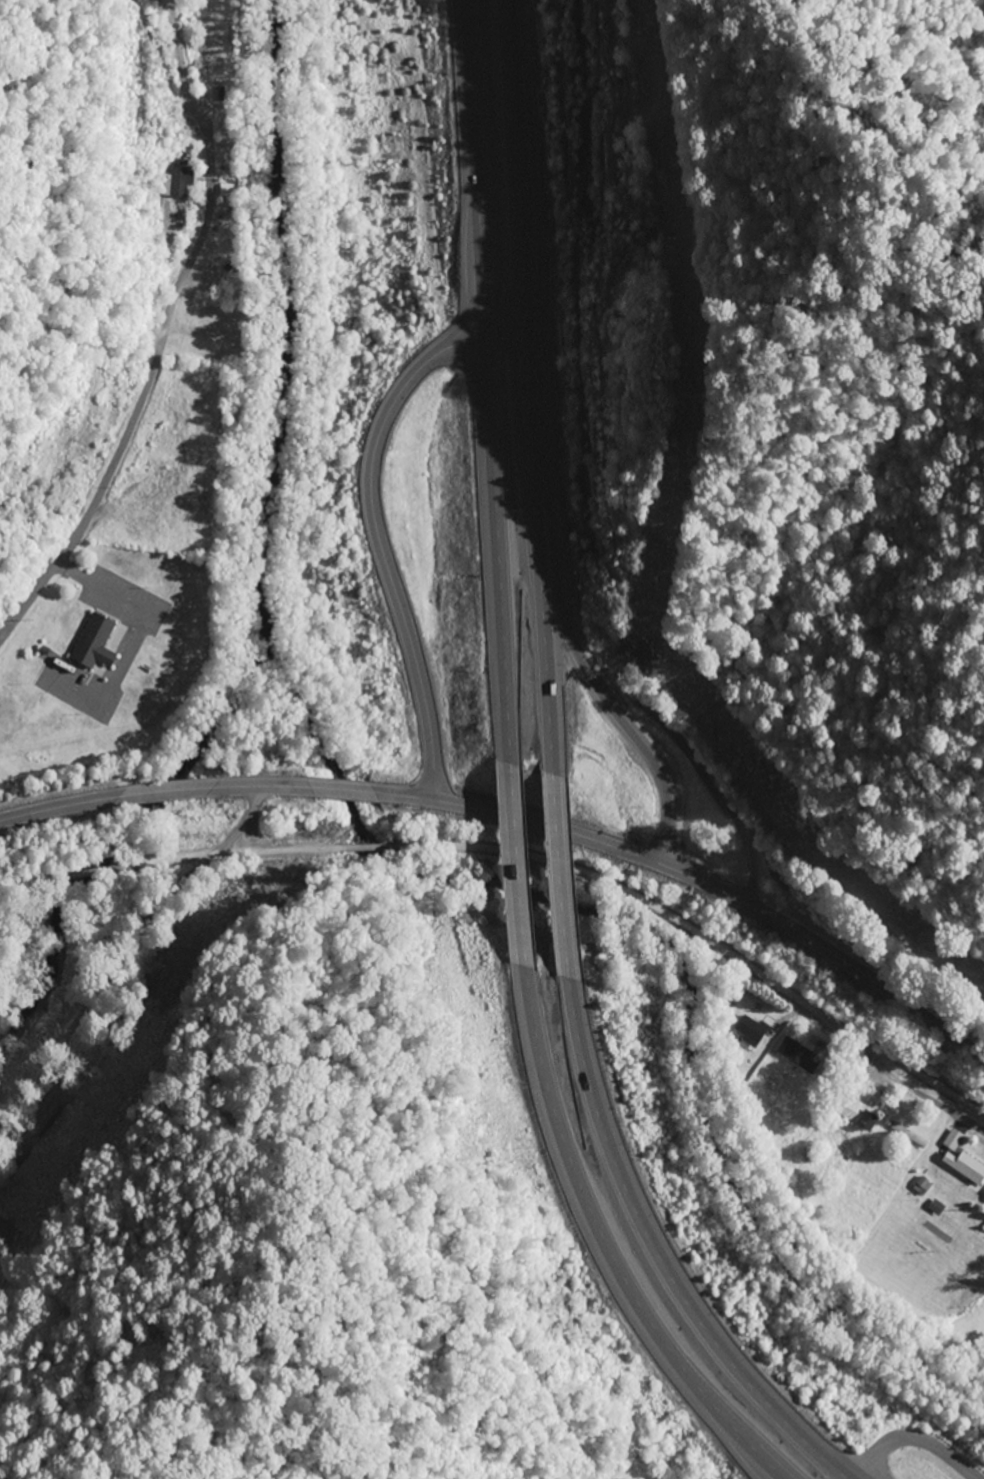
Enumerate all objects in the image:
road: (160, 342)
building: (209, 349)
road: (486, 393)
road: (524, 394)
road: (382, 537)
building: (94, 644)
road: (602, 703)
road: (340, 793)
road: (514, 860)
road: (523, 860)
road: (554, 868)
road: (128, 954)
road: (833, 958)
road: (798, 1003)
building: (750, 1029)
building: (799, 1055)
road: (890, 1074)
building: (854, 1113)
building: (46, 1120)
building: (909, 1135)
building: (15, 1155)
building: (961, 1160)
building: (922, 1186)
road: (596, 1232)
road: (645, 1242)
road: (916, 1444)

